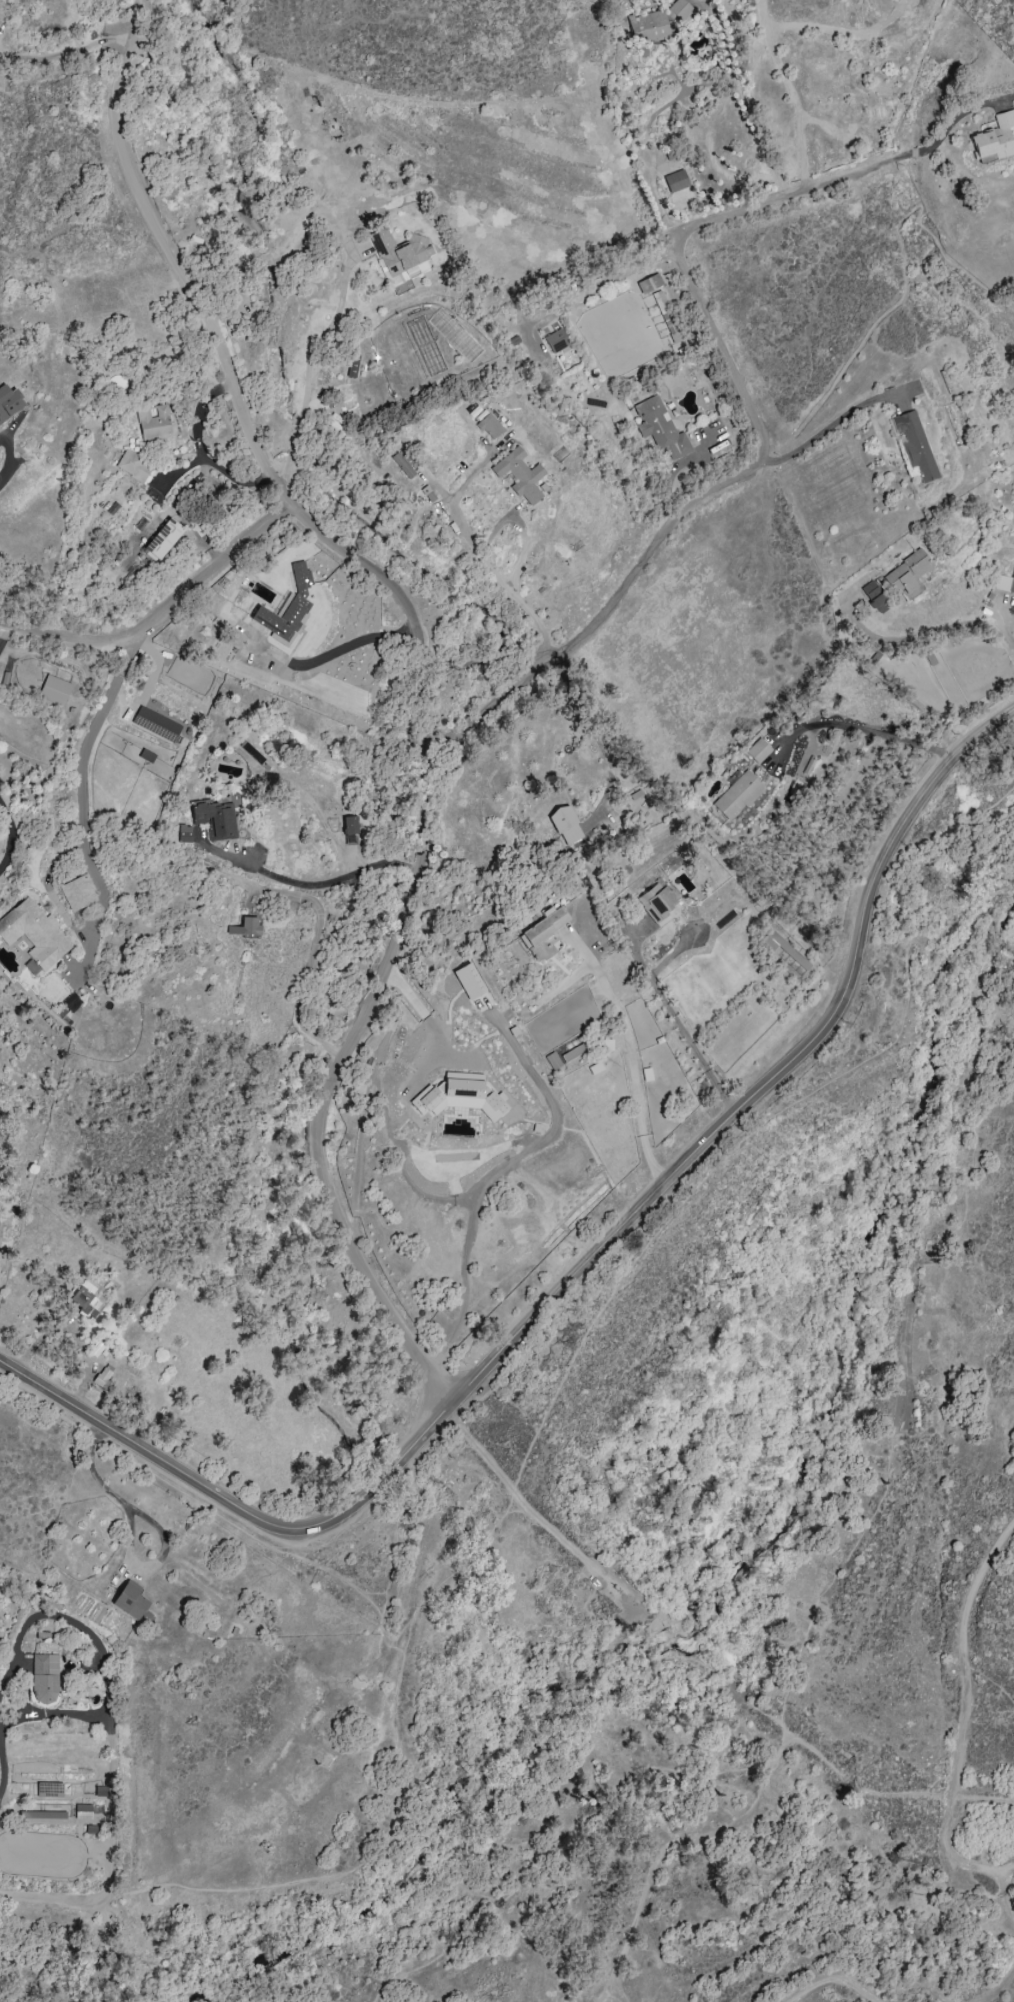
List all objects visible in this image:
road: (143, 7)
building: (655, 22)
road: (766, 38)
road: (66, 51)
road: (759, 134)
road: (941, 136)
building: (995, 138)
road: (644, 142)
building: (675, 181)
building: (399, 255)
building: (649, 283)
road: (595, 287)
building: (666, 316)
building: (556, 341)
building: (352, 366)
road: (307, 368)
building: (9, 403)
building: (153, 422)
road: (831, 424)
building: (488, 426)
building: (659, 428)
building: (914, 444)
road: (763, 451)
road: (9, 459)
building: (402, 465)
building: (133, 466)
building: (519, 475)
road: (460, 526)
building: (162, 539)
road: (521, 558)
building: (907, 574)
building: (1004, 583)
building: (874, 597)
road: (158, 610)
building: (287, 610)
road: (2, 632)
road: (928, 632)
road: (352, 647)
road: (425, 689)
building: (54, 691)
road: (147, 691)
building: (156, 724)
road: (852, 730)
road: (596, 738)
building: (758, 751)
building: (737, 795)
road: (80, 796)
building: (218, 816)
building: (349, 825)
building: (565, 825)
building: (184, 834)
road: (11, 837)
building: (349, 839)
road: (310, 884)
building: (77, 893)
building: (657, 900)
building: (244, 927)
building: (34, 935)
building: (544, 935)
building: (783, 948)
building: (468, 981)
road: (403, 988)
road: (675, 1014)
building: (573, 1053)
road: (628, 1053)
building: (552, 1061)
road: (768, 1081)
building: (459, 1096)
road: (770, 1119)
road: (968, 1182)
building: (85, 1299)
building: (102, 1378)
road: (149, 1455)
road: (383, 1477)
road: (115, 1498)
road: (878, 1507)
road: (540, 1508)
road: (214, 1514)
road: (32, 1566)
building: (130, 1602)
road: (67, 1620)
building: (45, 1678)
road: (990, 1682)
road: (741, 1697)
road: (396, 1717)
road: (1, 1725)
road: (107, 1727)
road: (958, 1743)
road: (651, 1769)
road: (965, 1794)
building: (82, 1812)
road: (949, 1812)
building: (44, 1815)
road: (935, 1832)
road: (668, 1845)
road: (983, 1869)
road: (178, 1887)
road: (53, 1899)
road: (475, 1926)
road: (837, 1982)
road: (997, 1988)
road: (617, 1989)

